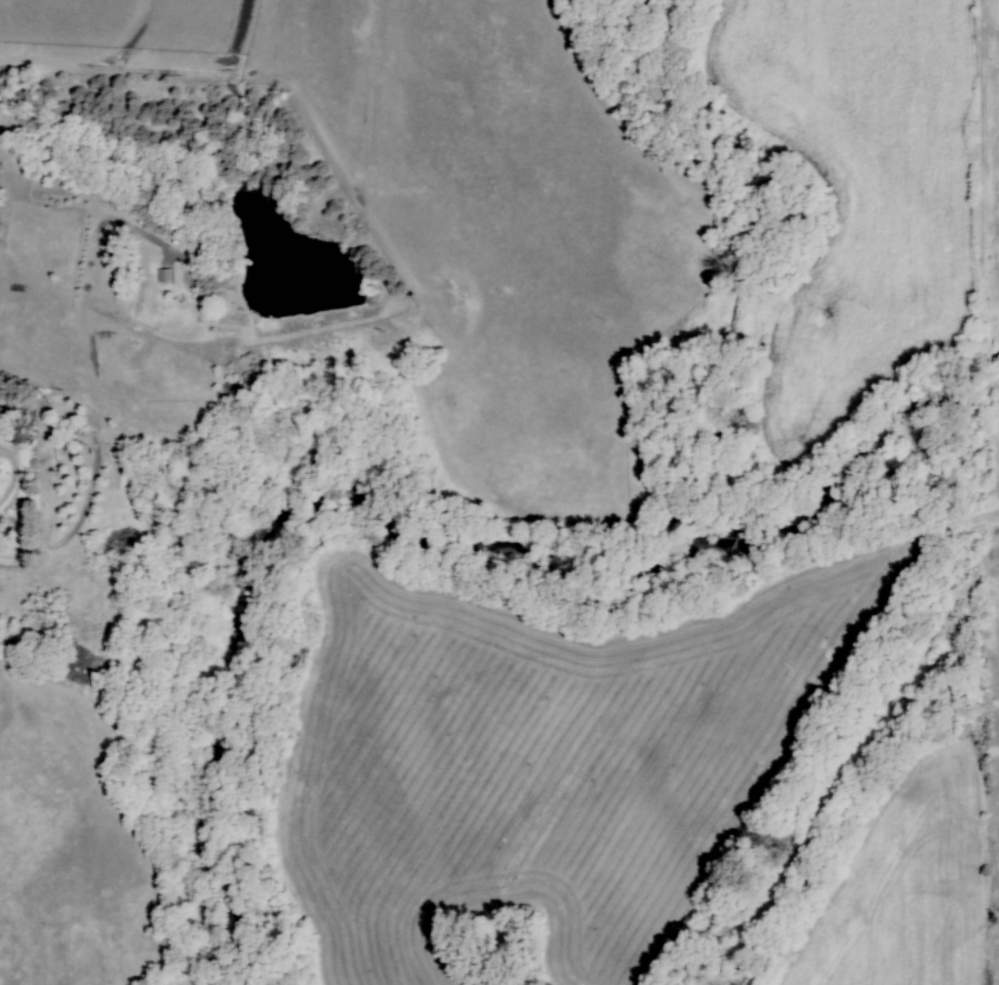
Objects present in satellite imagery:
road: (15, 478)
crop: (902, 884)

